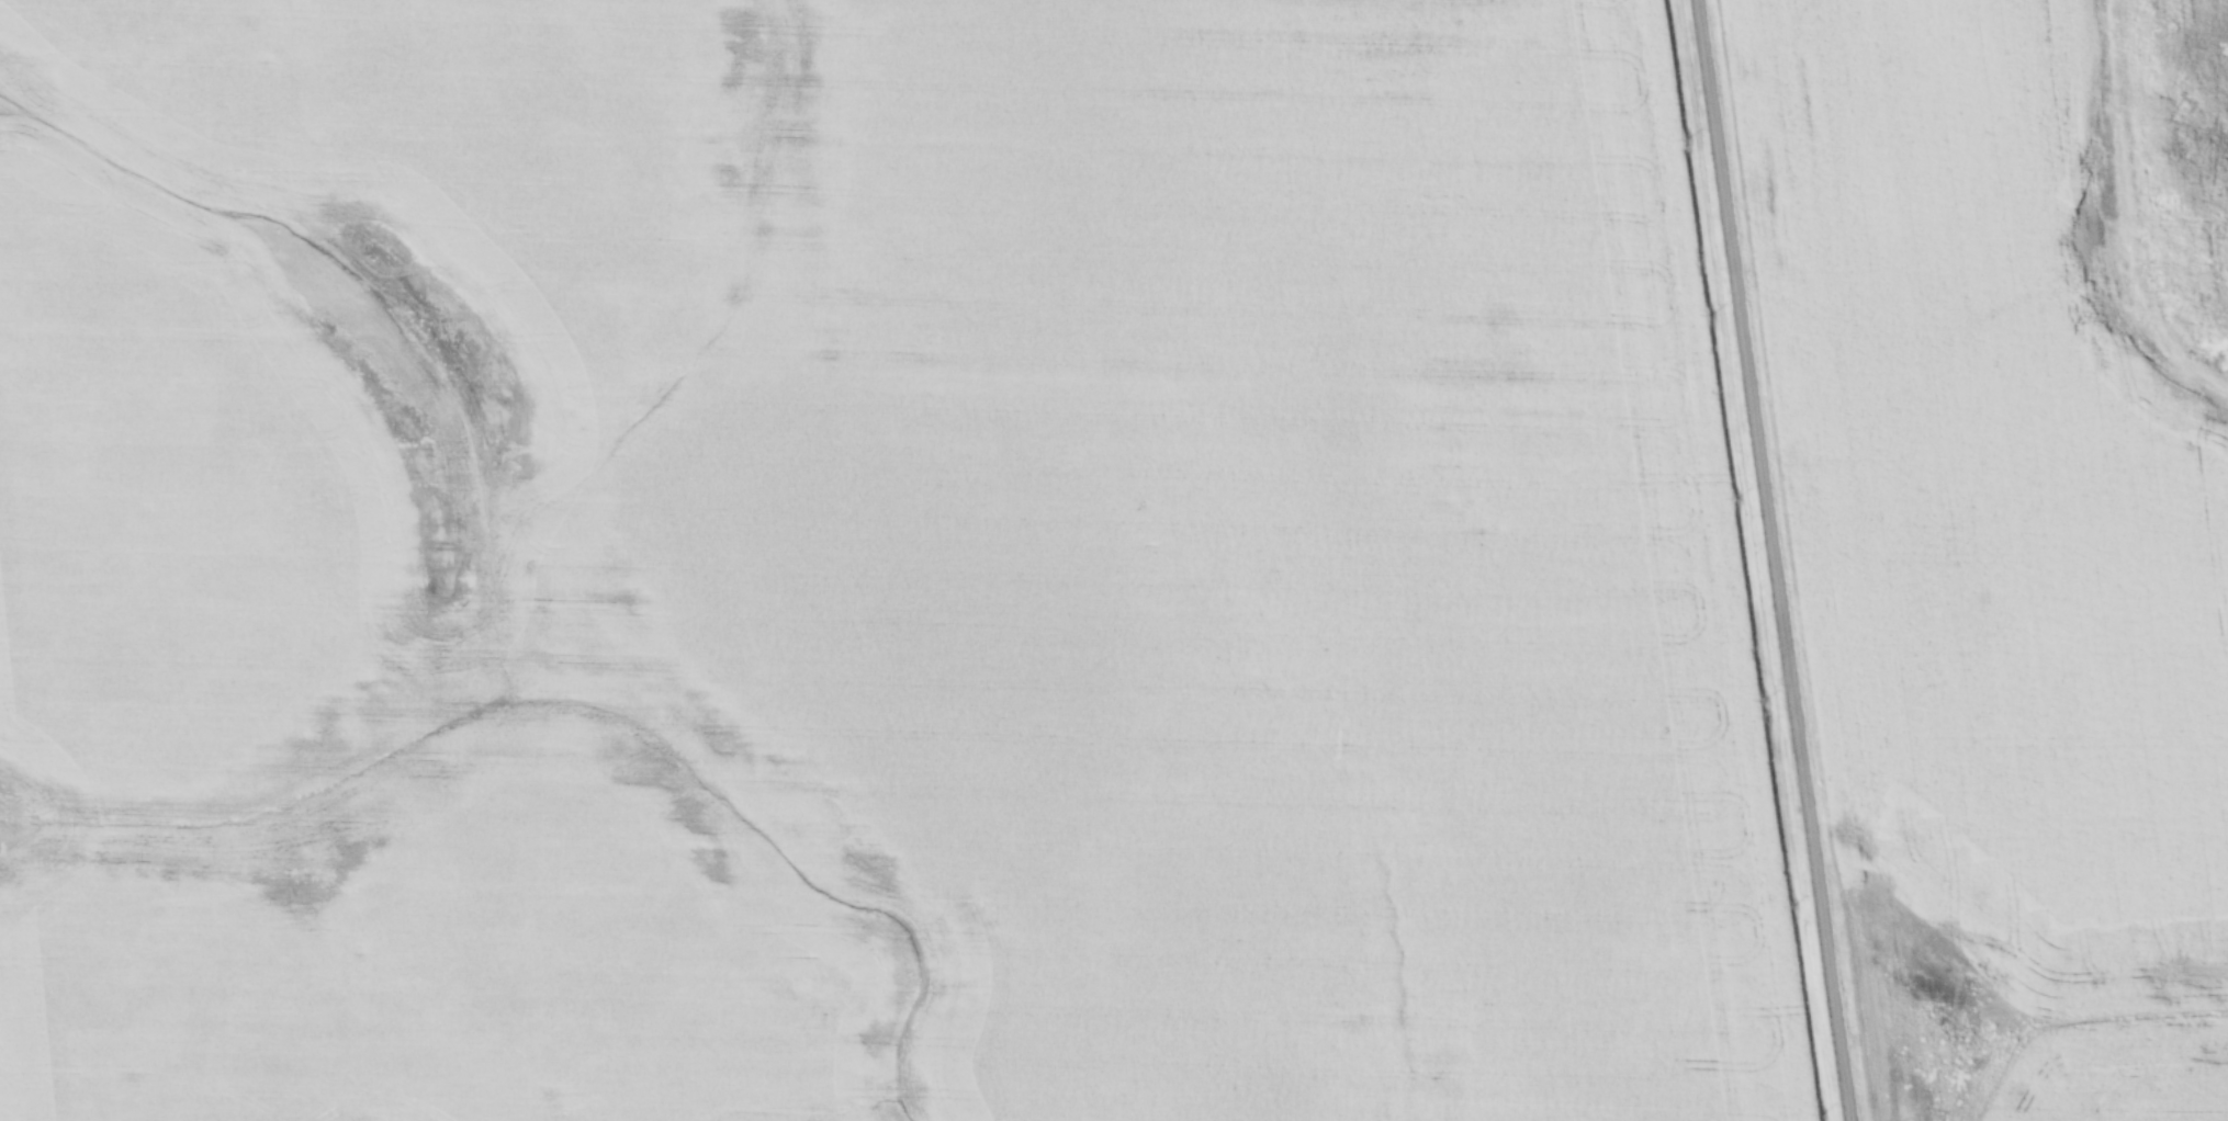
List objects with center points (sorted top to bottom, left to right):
road: (1775, 560)

